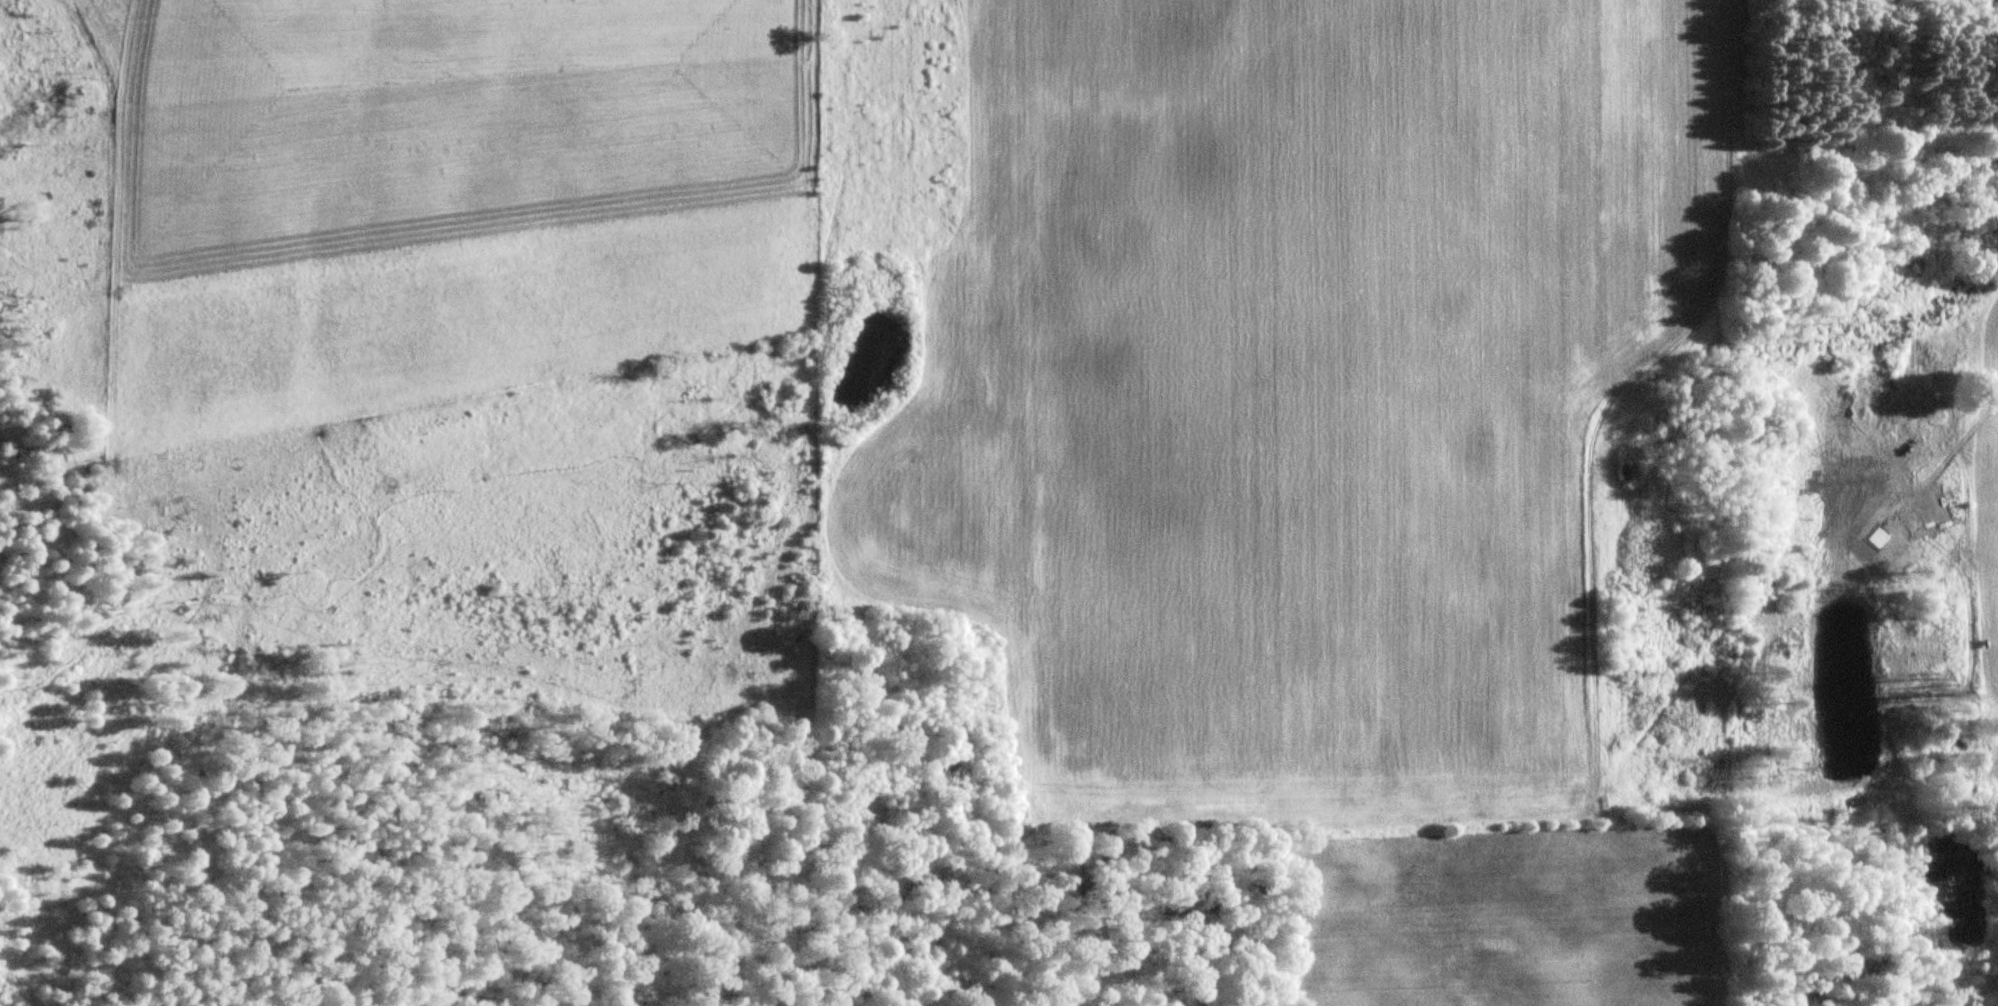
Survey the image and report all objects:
crop: (1291, 386)

